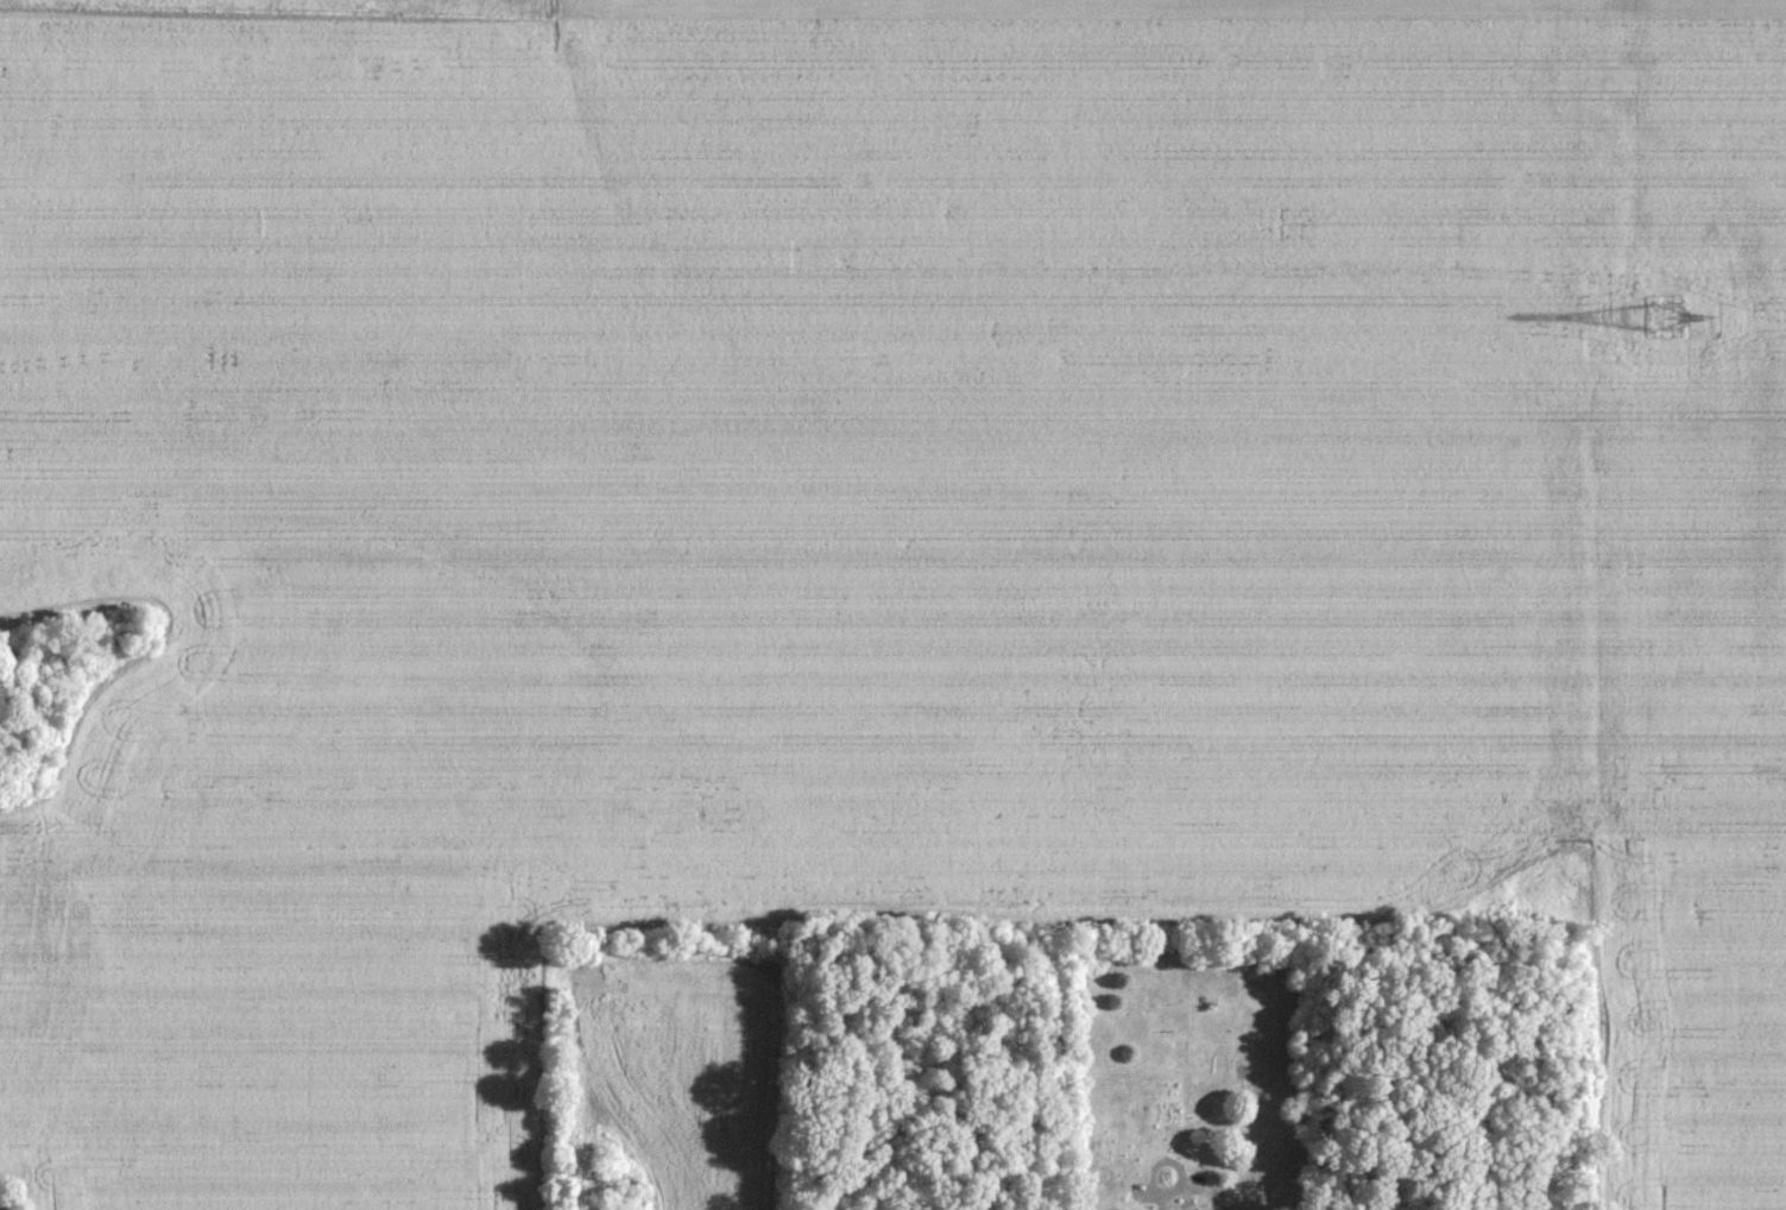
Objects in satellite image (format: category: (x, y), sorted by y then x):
power tower: (1673, 319)
building: (1132, 1208)
road: (1157, 1208)

